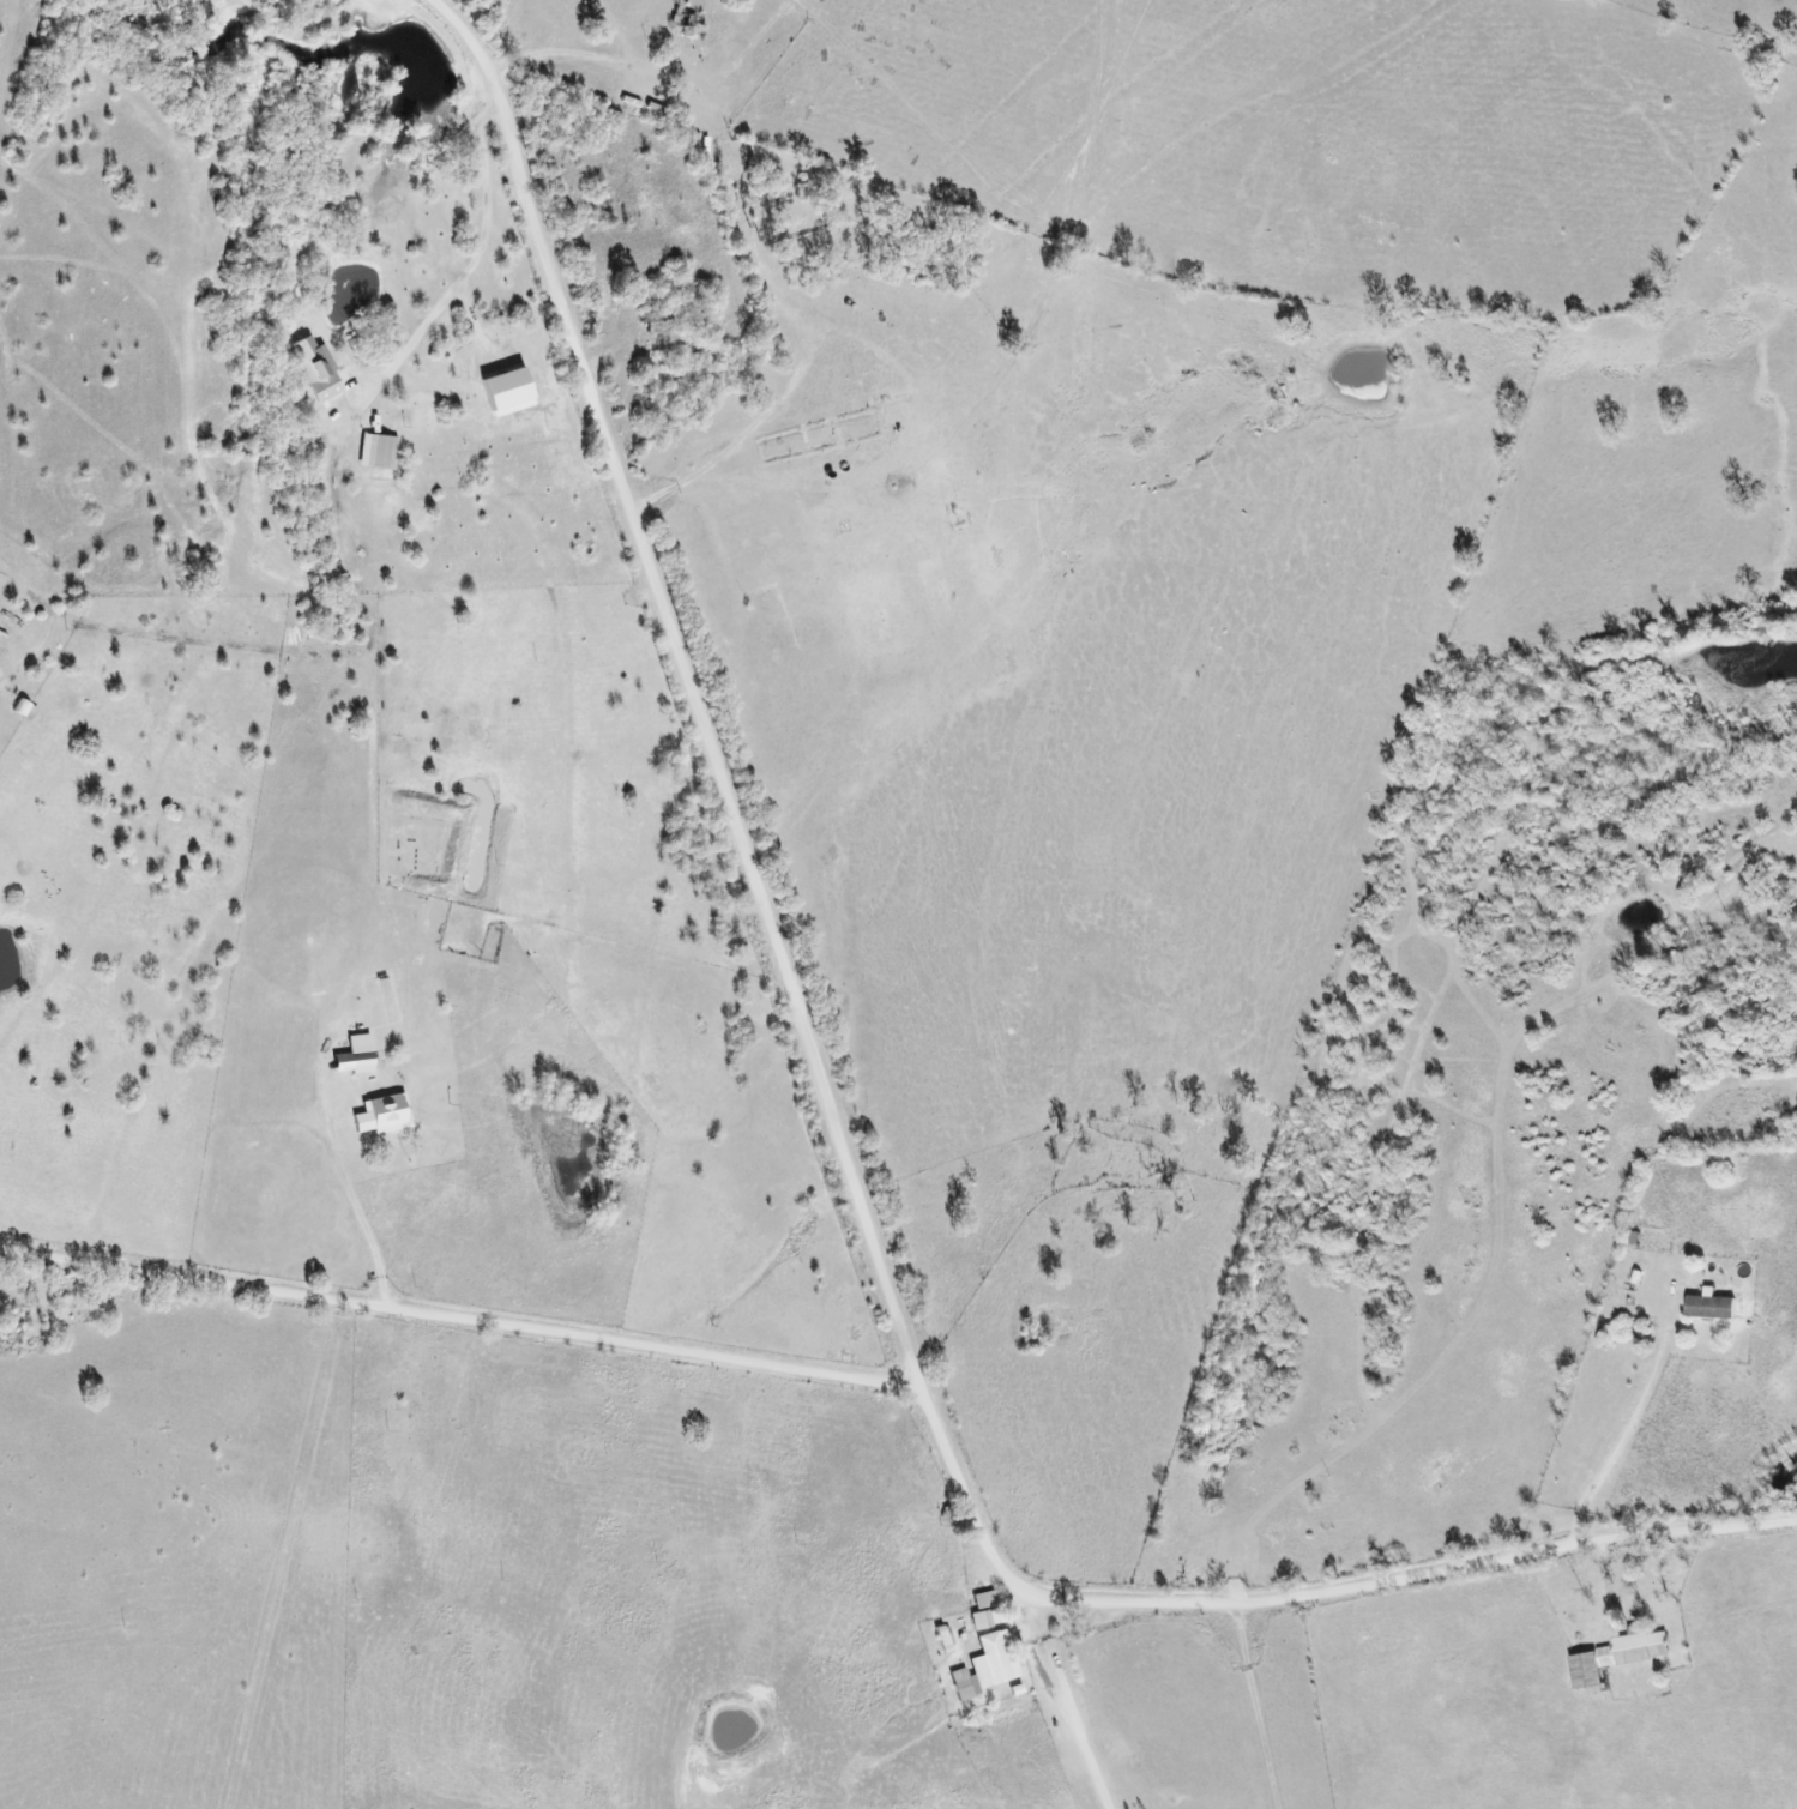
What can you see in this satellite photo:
building: (315, 370)
building: (378, 452)
road: (682, 681)
building: (356, 1044)
building: (382, 1116)
building: (1711, 1306)
road: (457, 1317)
road: (965, 1493)
road: (1412, 1572)
building: (983, 1611)
building: (1620, 1656)
building: (987, 1665)

